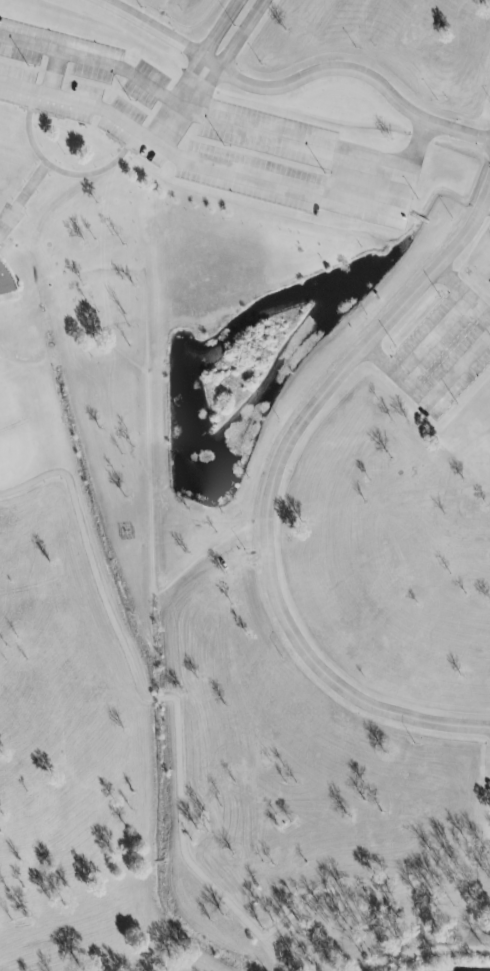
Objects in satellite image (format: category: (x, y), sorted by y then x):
road: (226, 30)
road: (244, 37)
parking lot: (60, 51)
road: (56, 74)
road: (290, 85)
parking lot: (148, 86)
parking lot: (49, 96)
road: (185, 105)
road: (40, 111)
road: (201, 116)
parking lot: (133, 133)
road: (129, 148)
road: (194, 164)
parking lot: (365, 166)
road: (413, 168)
road: (60, 172)
road: (23, 198)
building: (4, 281)
road: (464, 293)
road: (432, 334)
parking lot: (444, 352)
ski resort: (249, 358)
road: (431, 399)
park: (244, 484)
road: (272, 494)
road: (160, 699)
road: (421, 953)

